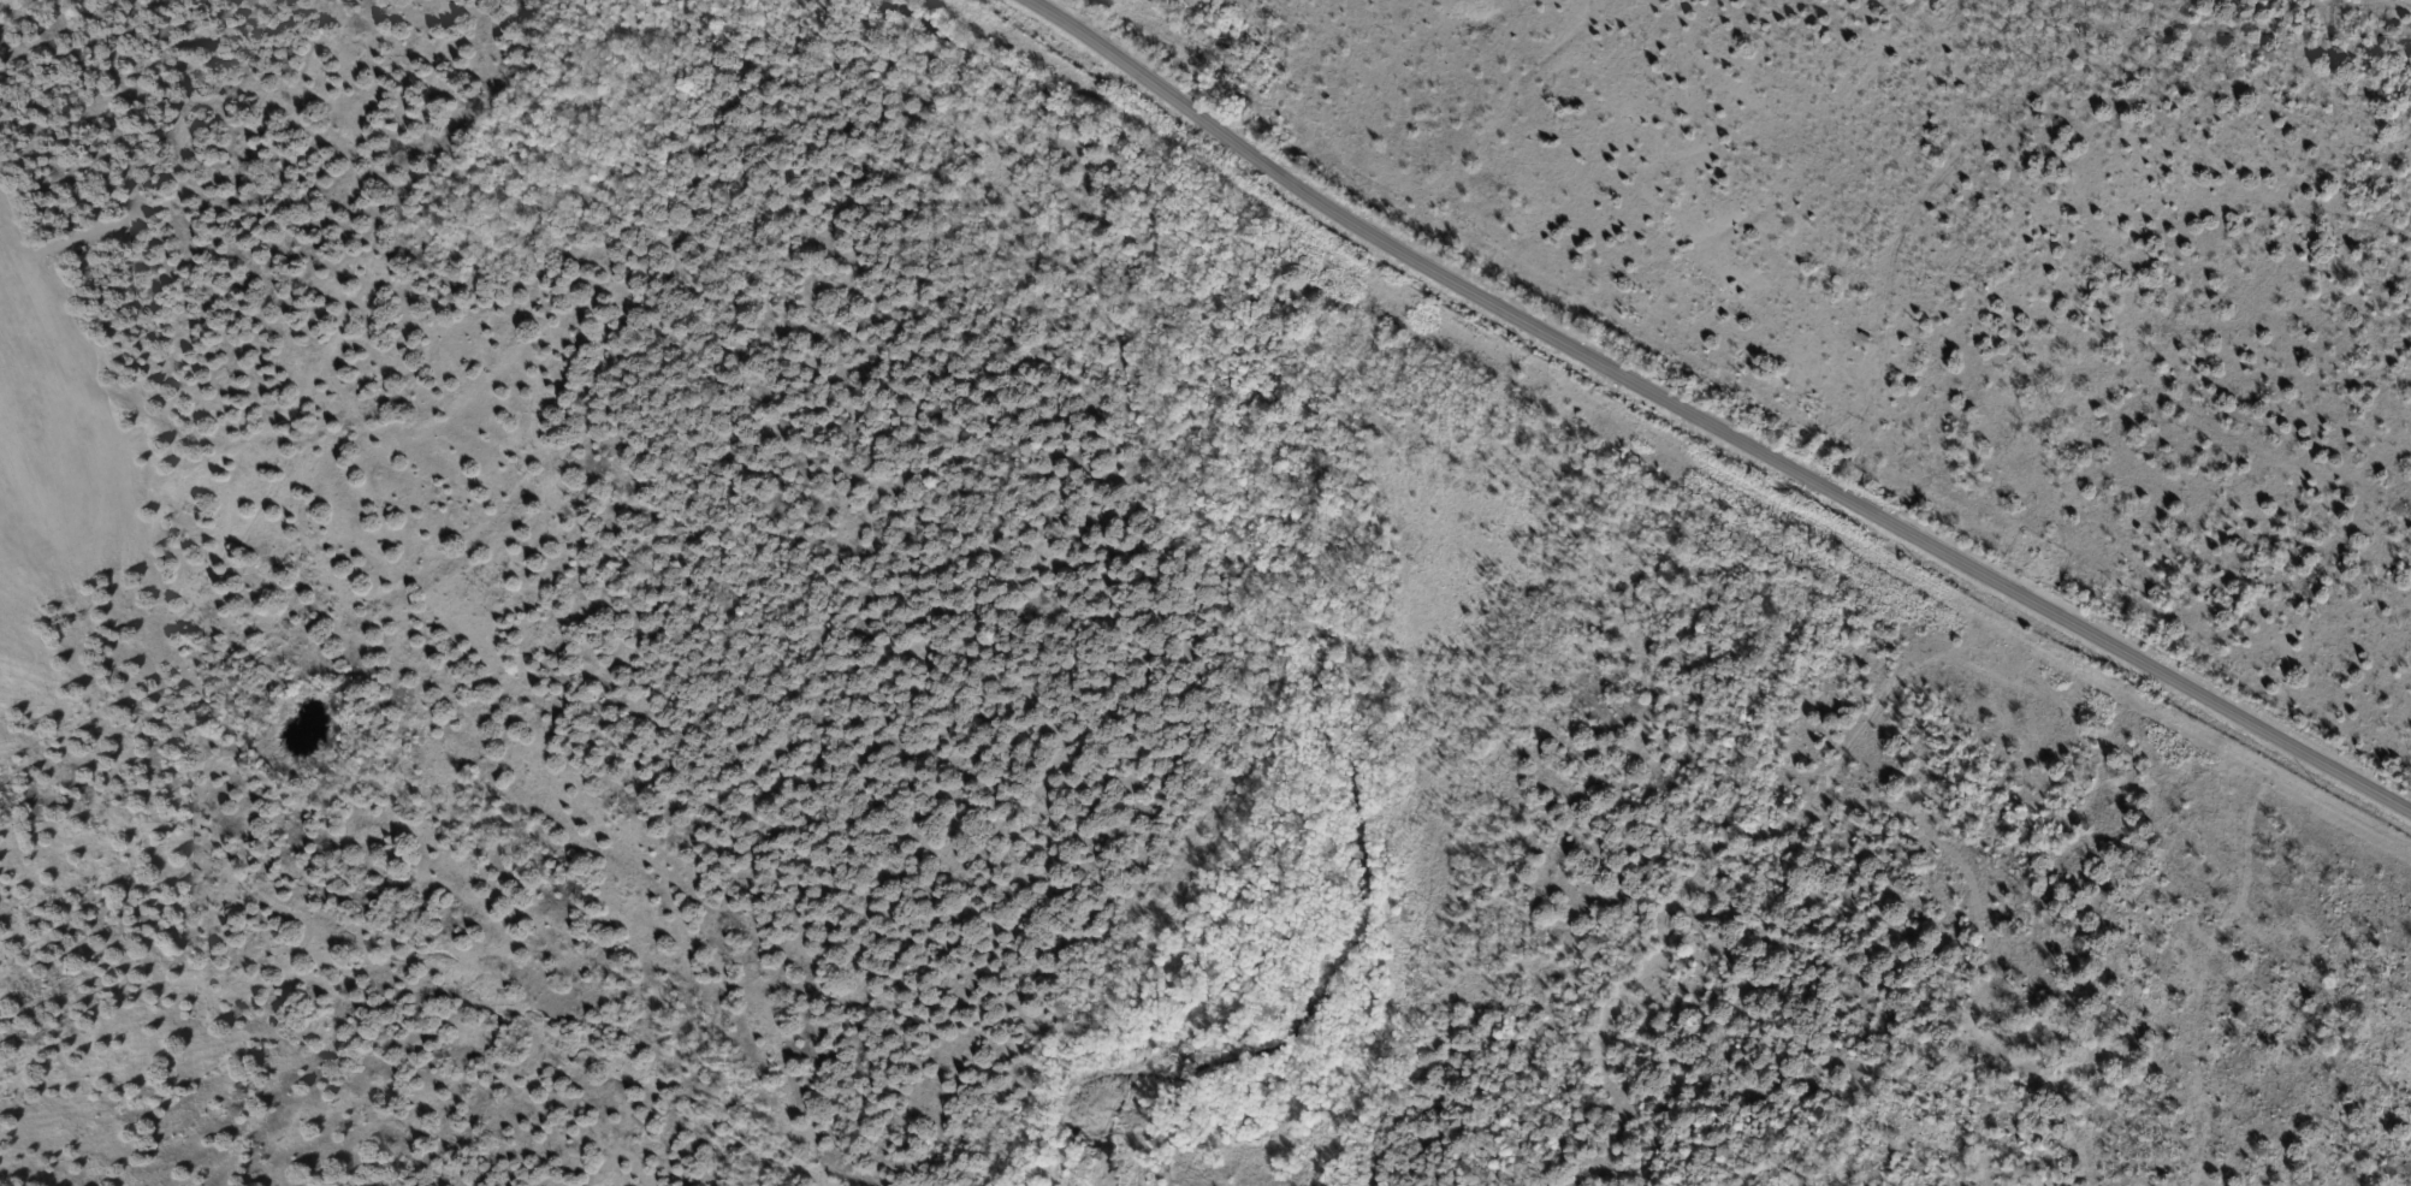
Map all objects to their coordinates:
road: (1707, 417)

